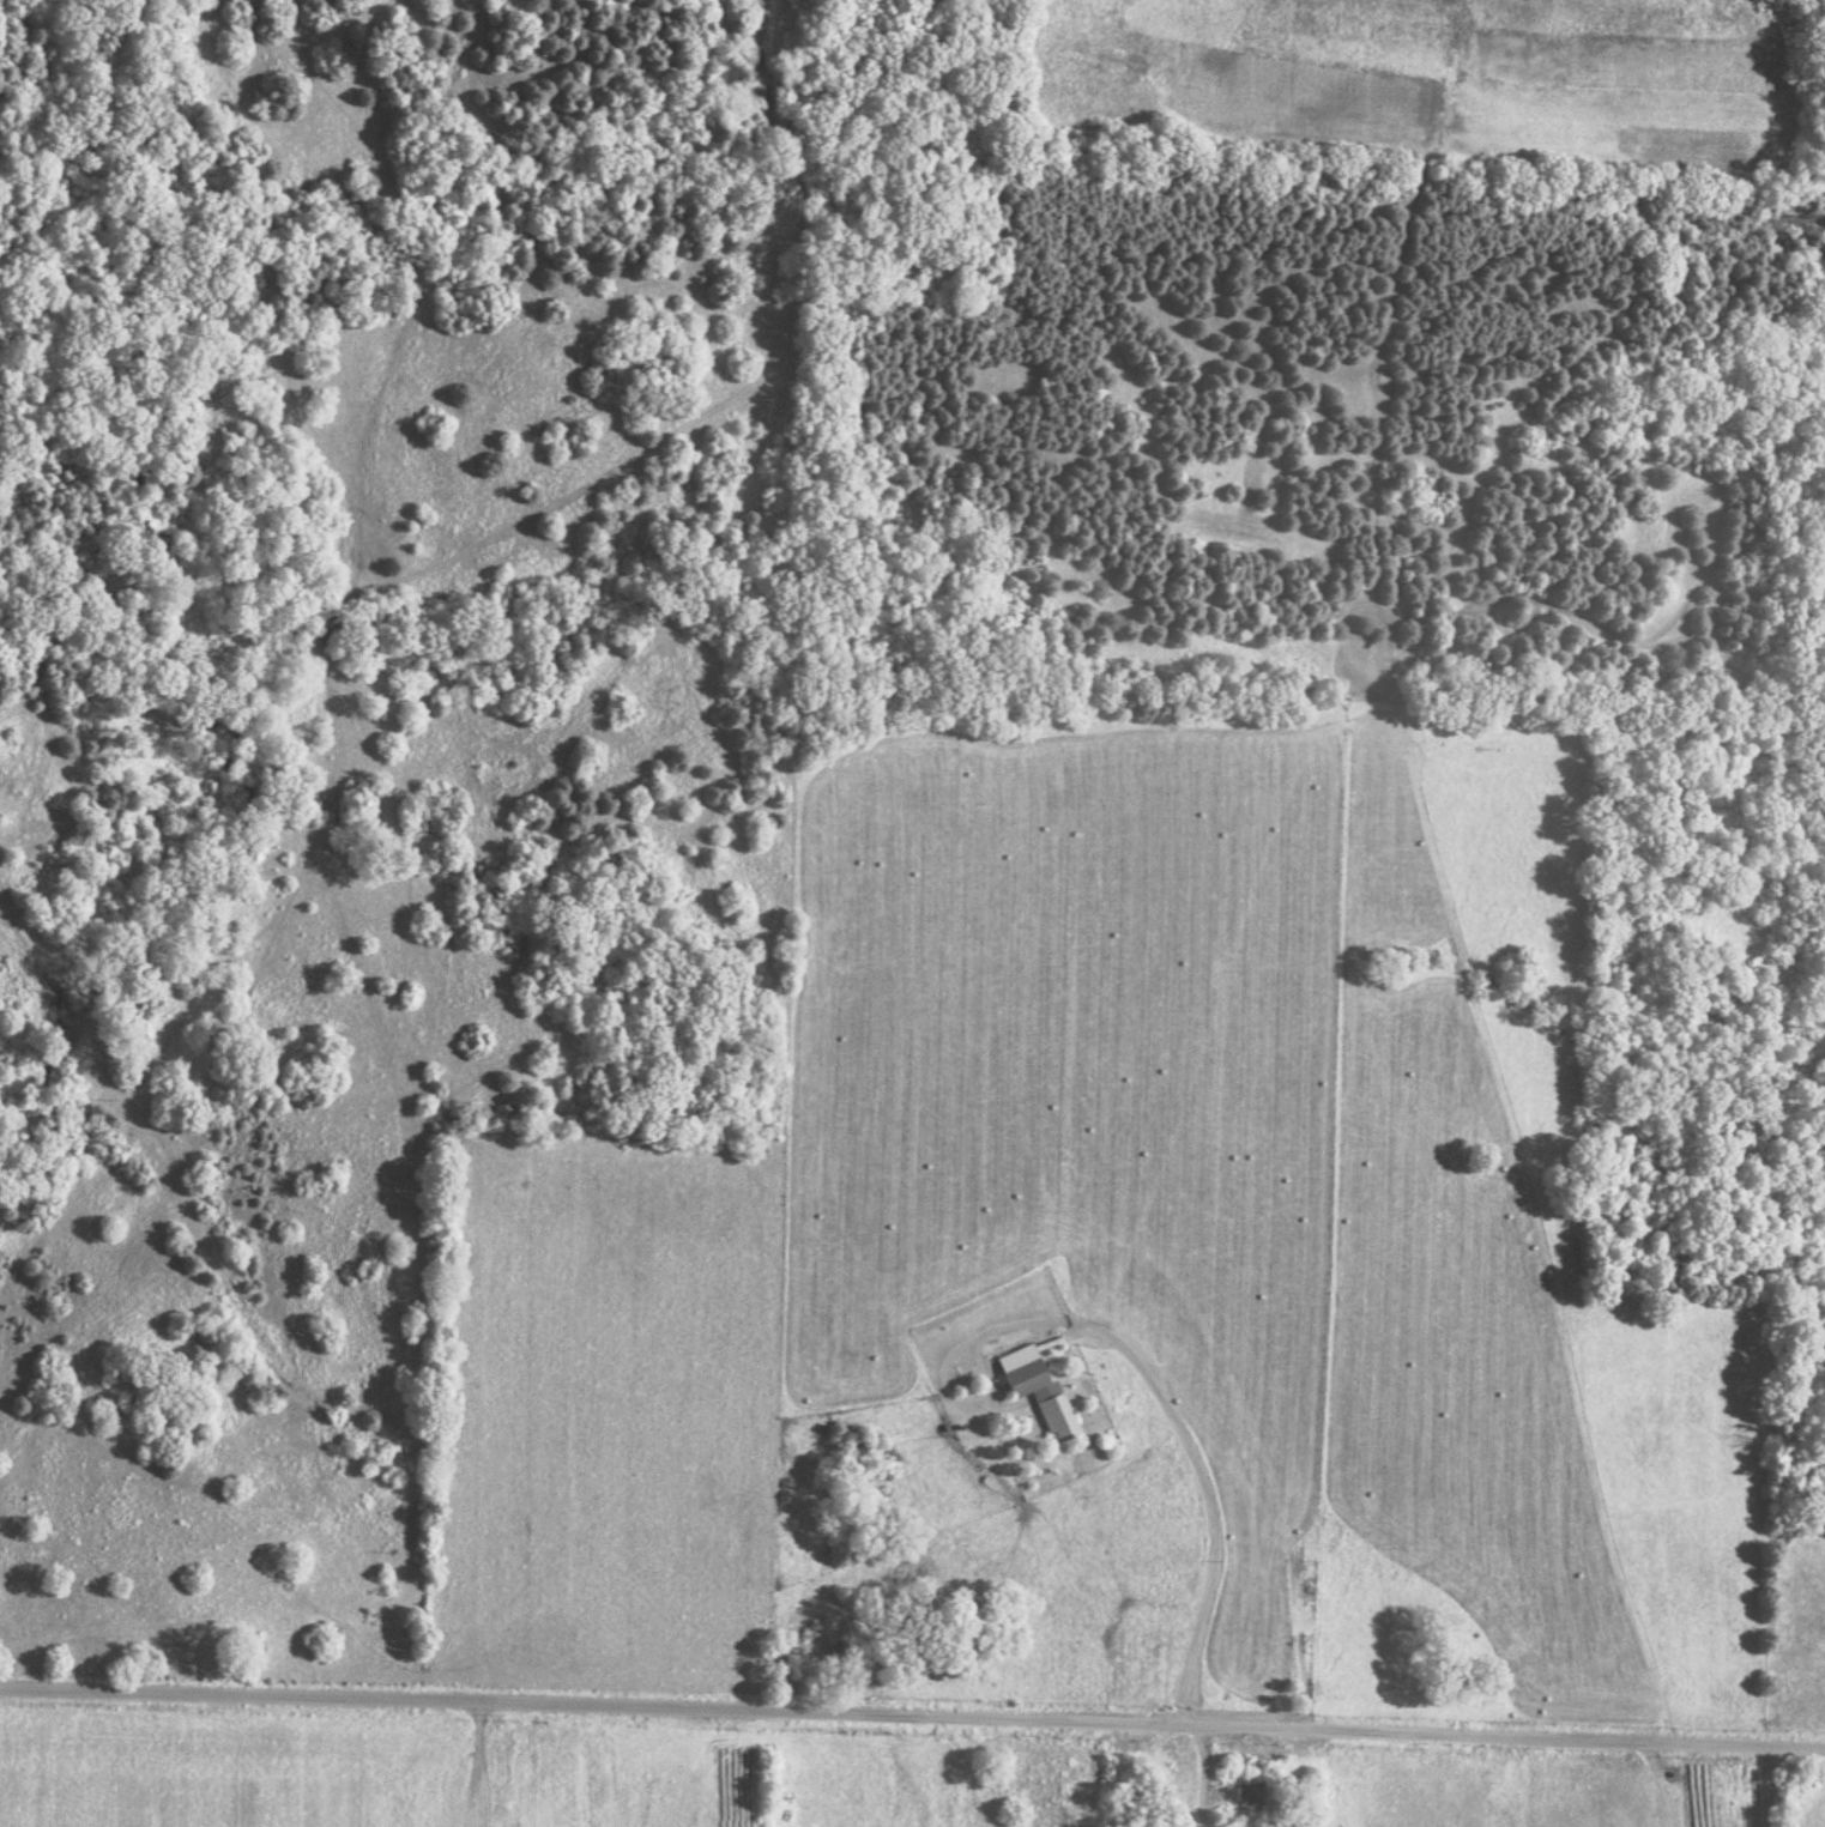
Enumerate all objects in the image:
road: (1161, 1392)
building: (1043, 1398)
road: (912, 1714)
road: (1210, 1775)
road: (1309, 1778)
building: (1250, 1793)

